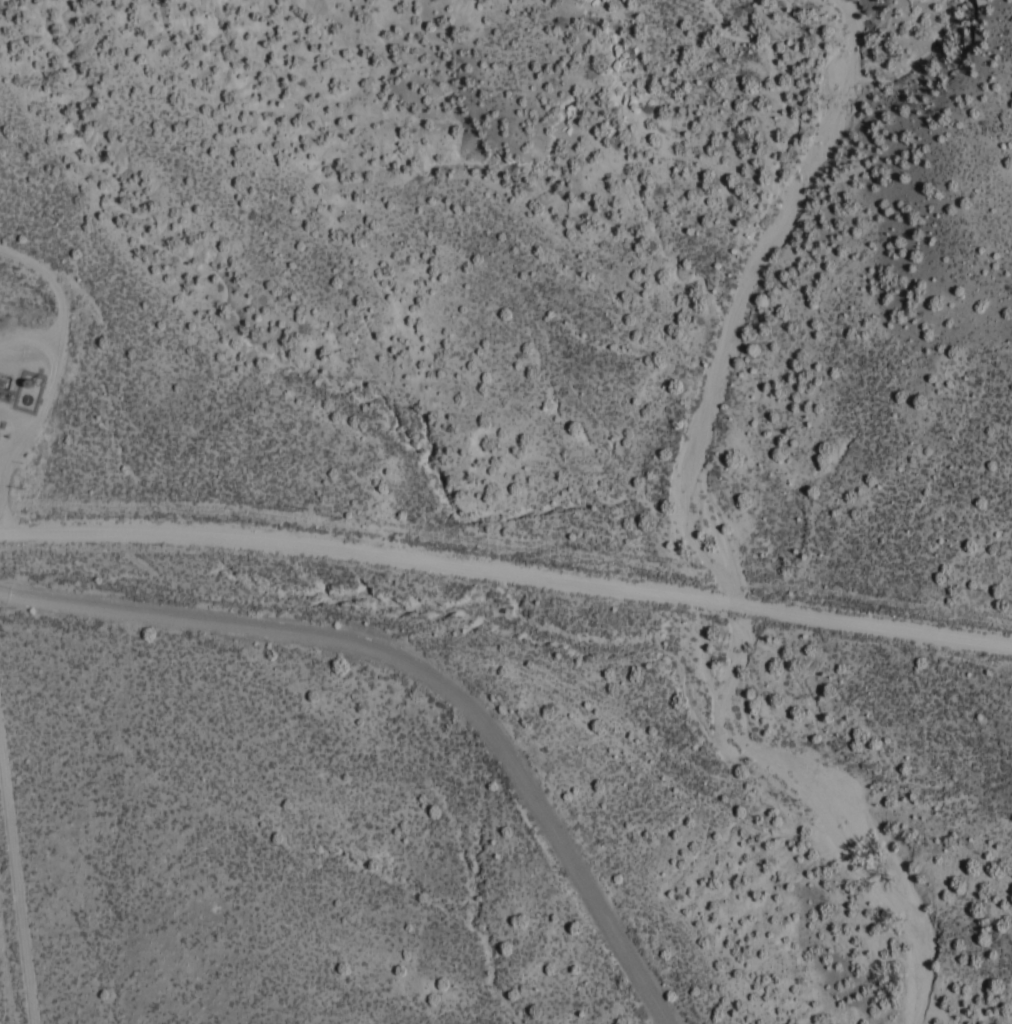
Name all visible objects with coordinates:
road: (31, 351)
road: (61, 377)
road: (7, 461)
road: (507, 572)
road: (425, 668)

